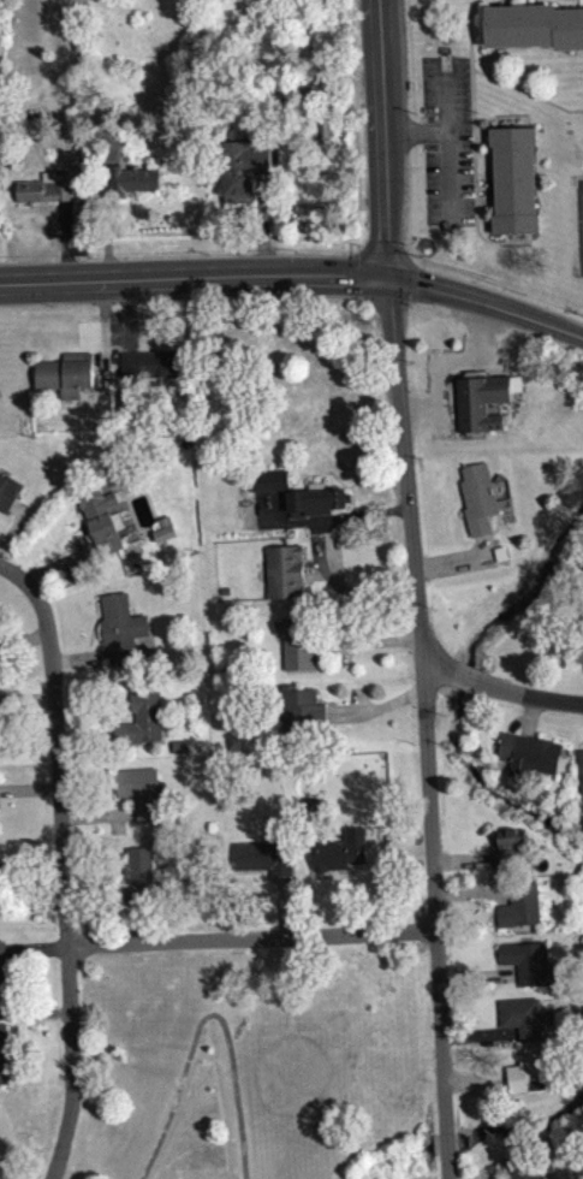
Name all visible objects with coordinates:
road: (527, 1)
building: (534, 25)
road: (527, 90)
road: (355, 106)
road: (490, 119)
road: (446, 124)
road: (472, 136)
road: (383, 137)
parking lot: (446, 138)
building: (243, 167)
road: (448, 177)
building: (132, 178)
building: (514, 178)
road: (484, 186)
building: (46, 189)
park: (579, 221)
traffic signals: (389, 276)
road: (194, 277)
road: (487, 300)
building: (151, 365)
building: (67, 375)
building: (486, 399)
building: (269, 479)
building: (272, 488)
building: (478, 498)
building: (10, 500)
building: (316, 500)
building: (106, 521)
building: (284, 570)
building: (123, 638)
building: (298, 640)
building: (576, 644)
road: (440, 666)
road: (464, 676)
road: (528, 693)
road: (428, 701)
building: (298, 711)
building: (144, 728)
building: (533, 764)
building: (582, 772)
building: (143, 801)
building: (511, 855)
building: (343, 860)
road: (64, 863)
building: (1, 884)
building: (144, 885)
building: (523, 916)
road: (251, 936)
building: (2, 966)
building: (531, 971)
road: (204, 1013)
building: (529, 1026)
building: (2, 1054)
park: (254, 1064)
building: (533, 1082)
road: (447, 1142)
road: (448, 1166)

